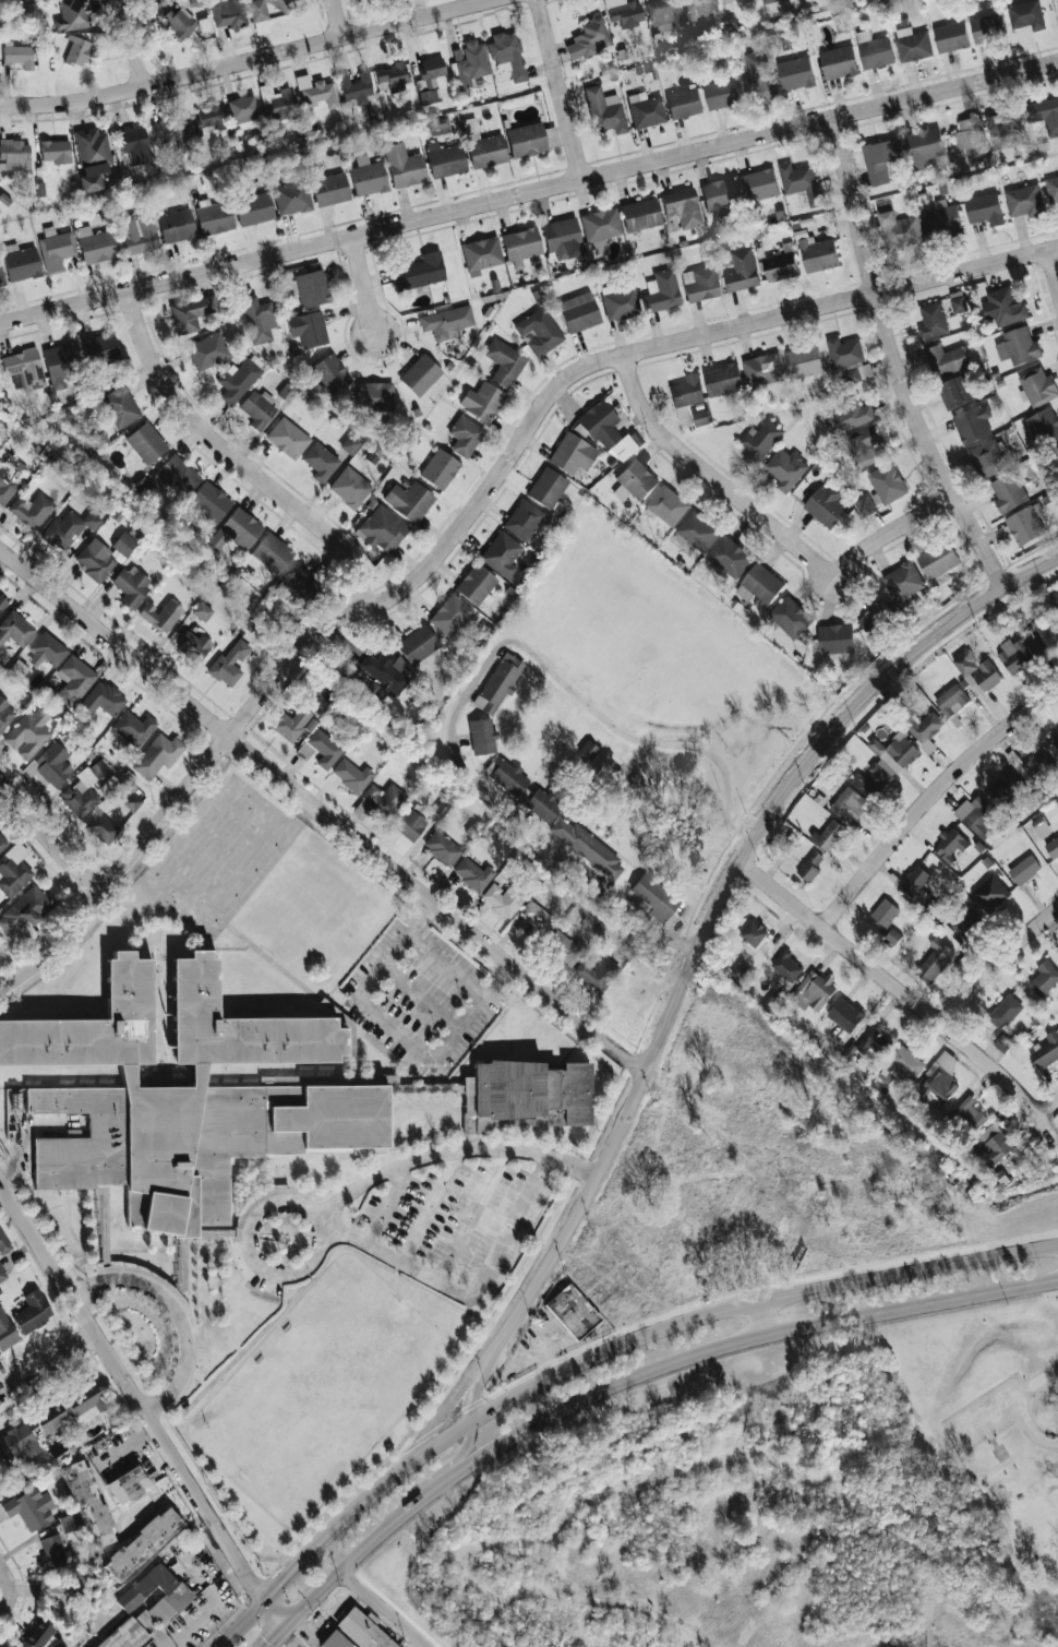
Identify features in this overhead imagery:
building: (768, 1)
building: (699, 8)
building: (228, 12)
building: (257, 12)
building: (624, 12)
building: (72, 14)
building: (665, 14)
building: (1026, 14)
road: (340, 20)
building: (180, 22)
building: (988, 26)
building: (950, 36)
building: (589, 38)
building: (788, 43)
road: (134, 44)
building: (867, 44)
building: (914, 44)
building: (76, 51)
building: (507, 53)
building: (17, 55)
road: (247, 62)
building: (838, 62)
building: (468, 64)
building: (757, 73)
building: (795, 73)
building: (390, 75)
building: (430, 79)
building: (356, 87)
road: (560, 89)
building: (316, 91)
building: (721, 94)
building: (684, 103)
building: (279, 104)
building: (243, 109)
building: (604, 110)
building: (645, 110)
building: (1044, 114)
building: (206, 119)
building: (469, 126)
building: (438, 127)
building: (168, 130)
building: (1003, 132)
building: (529, 139)
building: (972, 140)
building: (134, 144)
building: (924, 146)
building: (55, 151)
building: (486, 151)
building: (14, 153)
building: (91, 157)
building: (880, 158)
building: (445, 159)
building: (404, 166)
building: (368, 176)
building: (802, 182)
building: (758, 184)
building: (1051, 188)
building: (330, 189)
road: (529, 192)
building: (719, 194)
building: (292, 196)
building: (1024, 201)
building: (682, 207)
building: (254, 208)
building: (984, 208)
building: (639, 214)
building: (213, 216)
building: (942, 218)
building: (177, 225)
building: (600, 227)
building: (900, 230)
building: (139, 232)
building: (562, 237)
building: (97, 244)
building: (521, 246)
building: (56, 249)
building: (481, 254)
building: (21, 262)
road: (1054, 263)
building: (782, 264)
building: (743, 271)
building: (420, 272)
building: (1, 277)
building: (700, 284)
road: (368, 285)
building: (309, 288)
building: (661, 291)
building: (620, 302)
building: (958, 302)
building: (1003, 307)
building: (579, 312)
building: (192, 313)
building: (257, 320)
building: (933, 321)
building: (446, 322)
building: (309, 329)
building: (539, 332)
building: (1018, 346)
building: (100, 349)
building: (208, 350)
building: (844, 353)
road: (894, 359)
building: (946, 359)
building: (504, 361)
building: (804, 361)
building: (60, 363)
building: (25, 367)
building: (764, 370)
building: (865, 371)
building: (330, 374)
building: (420, 374)
building: (238, 380)
building: (723, 380)
building: (1037, 386)
building: (687, 392)
building: (955, 392)
building: (374, 396)
building: (482, 402)
building: (120, 406)
building: (259, 409)
building: (701, 417)
building: (849, 417)
building: (973, 423)
building: (1044, 426)
building: (606, 431)
building: (465, 435)
building: (288, 438)
building: (760, 441)
building: (146, 442)
building: (350, 444)
building: (865, 446)
building: (573, 455)
road: (239, 457)
building: (988, 458)
building: (321, 462)
building: (440, 469)
building: (785, 469)
building: (177, 474)
building: (11, 477)
road: (711, 477)
building: (635, 481)
building: (888, 484)
building: (143, 486)
building: (350, 487)
building: (548, 489)
building: (1008, 491)
building: (211, 501)
building: (409, 501)
building: (666, 505)
building: (827, 505)
building: (32, 510)
road: (468, 513)
building: (524, 520)
building: (1026, 524)
building: (68, 528)
building: (237, 529)
building: (383, 529)
building: (697, 532)
road: (891, 532)
building: (124, 544)
building: (273, 552)
building: (502, 554)
building: (730, 557)
building: (95, 560)
building: (938, 560)
building: (903, 581)
building: (477, 584)
building: (759, 584)
building: (132, 585)
building: (301, 586)
building: (2, 602)
building: (1056, 602)
building: (202, 611)
building: (450, 614)
building: (161, 616)
building: (790, 617)
building: (873, 619)
building: (15, 629)
building: (1044, 635)
building: (837, 638)
building: (418, 644)
building: (195, 646)
building: (49, 649)
building: (1014, 655)
building: (229, 664)
building: (386, 670)
building: (977, 671)
building: (74, 681)
road: (473, 681)
building: (498, 683)
building: (103, 700)
building: (952, 700)
building: (5, 714)
building: (290, 723)
building: (134, 728)
building: (924, 729)
building: (28, 733)
building: (482, 737)
building: (1055, 739)
building: (320, 749)
building: (588, 751)
building: (157, 755)
building: (888, 762)
building: (1033, 765)
building: (50, 766)
road: (798, 773)
building: (351, 775)
building: (508, 777)
building: (1006, 788)
building: (85, 789)
building: (384, 799)
building: (132, 801)
building: (850, 803)
road: (931, 803)
building: (542, 804)
road: (323, 811)
building: (976, 815)
building: (410, 824)
building: (101, 827)
building: (1042, 827)
building: (830, 835)
road: (52, 837)
building: (2, 843)
building: (951, 845)
building: (587, 847)
building: (442, 848)
building: (1053, 848)
building: (810, 867)
building: (13, 869)
building: (1024, 870)
building: (473, 874)
building: (917, 888)
building: (990, 894)
building: (505, 898)
building: (654, 898)
building: (26, 910)
building: (885, 912)
building: (537, 920)
building: (966, 923)
building: (754, 933)
building: (565, 948)
building: (935, 960)
road: (996, 964)
building: (788, 966)
road: (445, 967)
building: (597, 972)
building: (741, 972)
building: (1045, 978)
building: (813, 992)
road: (904, 993)
road: (420, 998)
parking lot: (423, 998)
building: (1006, 1012)
building: (845, 1015)
road: (395, 1027)
building: (348, 1037)
building: (875, 1043)
building: (1046, 1051)
building: (906, 1062)
building: (939, 1079)
building: (235, 1097)
building: (15, 1102)
road: (1049, 1108)
building: (970, 1115)
road: (26, 1127)
building: (996, 1143)
road: (452, 1151)
road: (385, 1203)
road: (431, 1207)
road: (257, 1213)
road: (577, 1213)
road: (472, 1217)
building: (3, 1244)
building: (2, 1273)
road: (395, 1273)
road: (469, 1297)
road: (754, 1299)
building: (572, 1311)
building: (32, 1312)
road: (177, 1312)
road: (768, 1314)
building: (5, 1330)
road: (448, 1361)
road: (48, 1363)
road: (479, 1377)
road: (638, 1377)
park: (325, 1388)
road: (450, 1397)
building: (84, 1398)
road: (140, 1404)
road: (1023, 1406)
road: (985, 1410)
parking lot: (986, 1412)
building: (51, 1418)
road: (1011, 1421)
road: (990, 1436)
building: (19, 1442)
road: (127, 1446)
building: (2, 1463)
road: (445, 1463)
road: (793, 1471)
building: (128, 1484)
building: (0, 1485)
building: (87, 1503)
park: (769, 1503)
building: (29, 1507)
building: (68, 1521)
road: (337, 1525)
building: (142, 1543)
road: (424, 1544)
building: (53, 1552)
traffic signals: (280, 1580)
road: (963, 1580)
traffic signals: (251, 1582)
building: (63, 1587)
road: (8, 1589)
building: (177, 1595)
road: (577, 1596)
road: (385, 1609)
road: (209, 1611)
building: (362, 1630)
building: (130, 1632)
road: (930, 1633)
building: (36, 1634)
road: (276, 1635)
building: (334, 1640)
traffic signals: (269, 1642)
building: (57, 1645)

